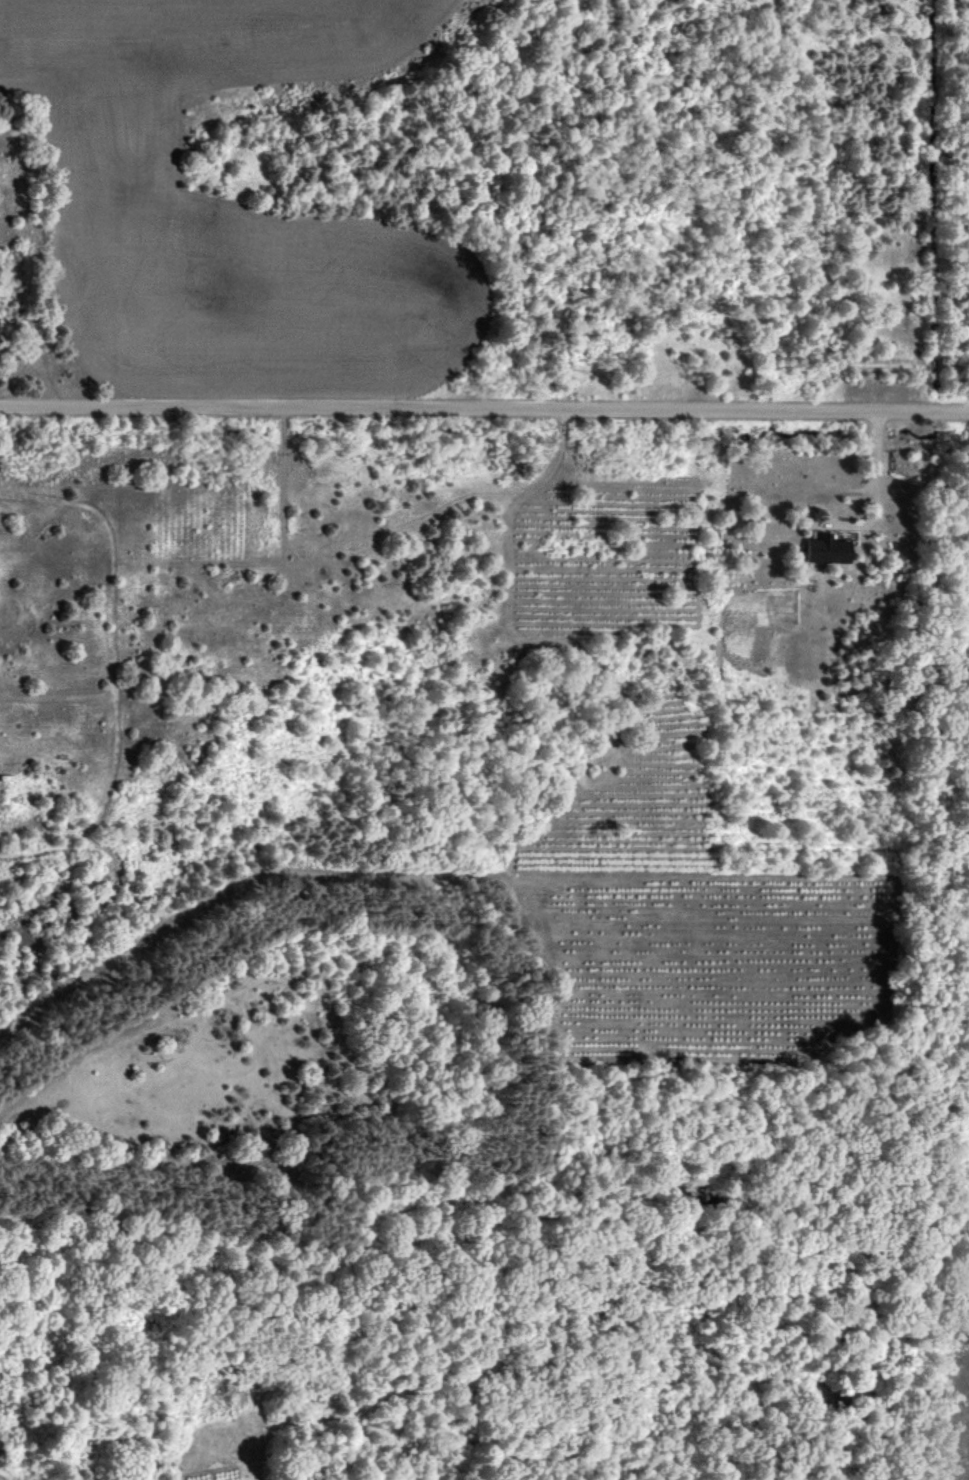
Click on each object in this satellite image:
road: (484, 409)
road: (879, 485)
building: (827, 548)

